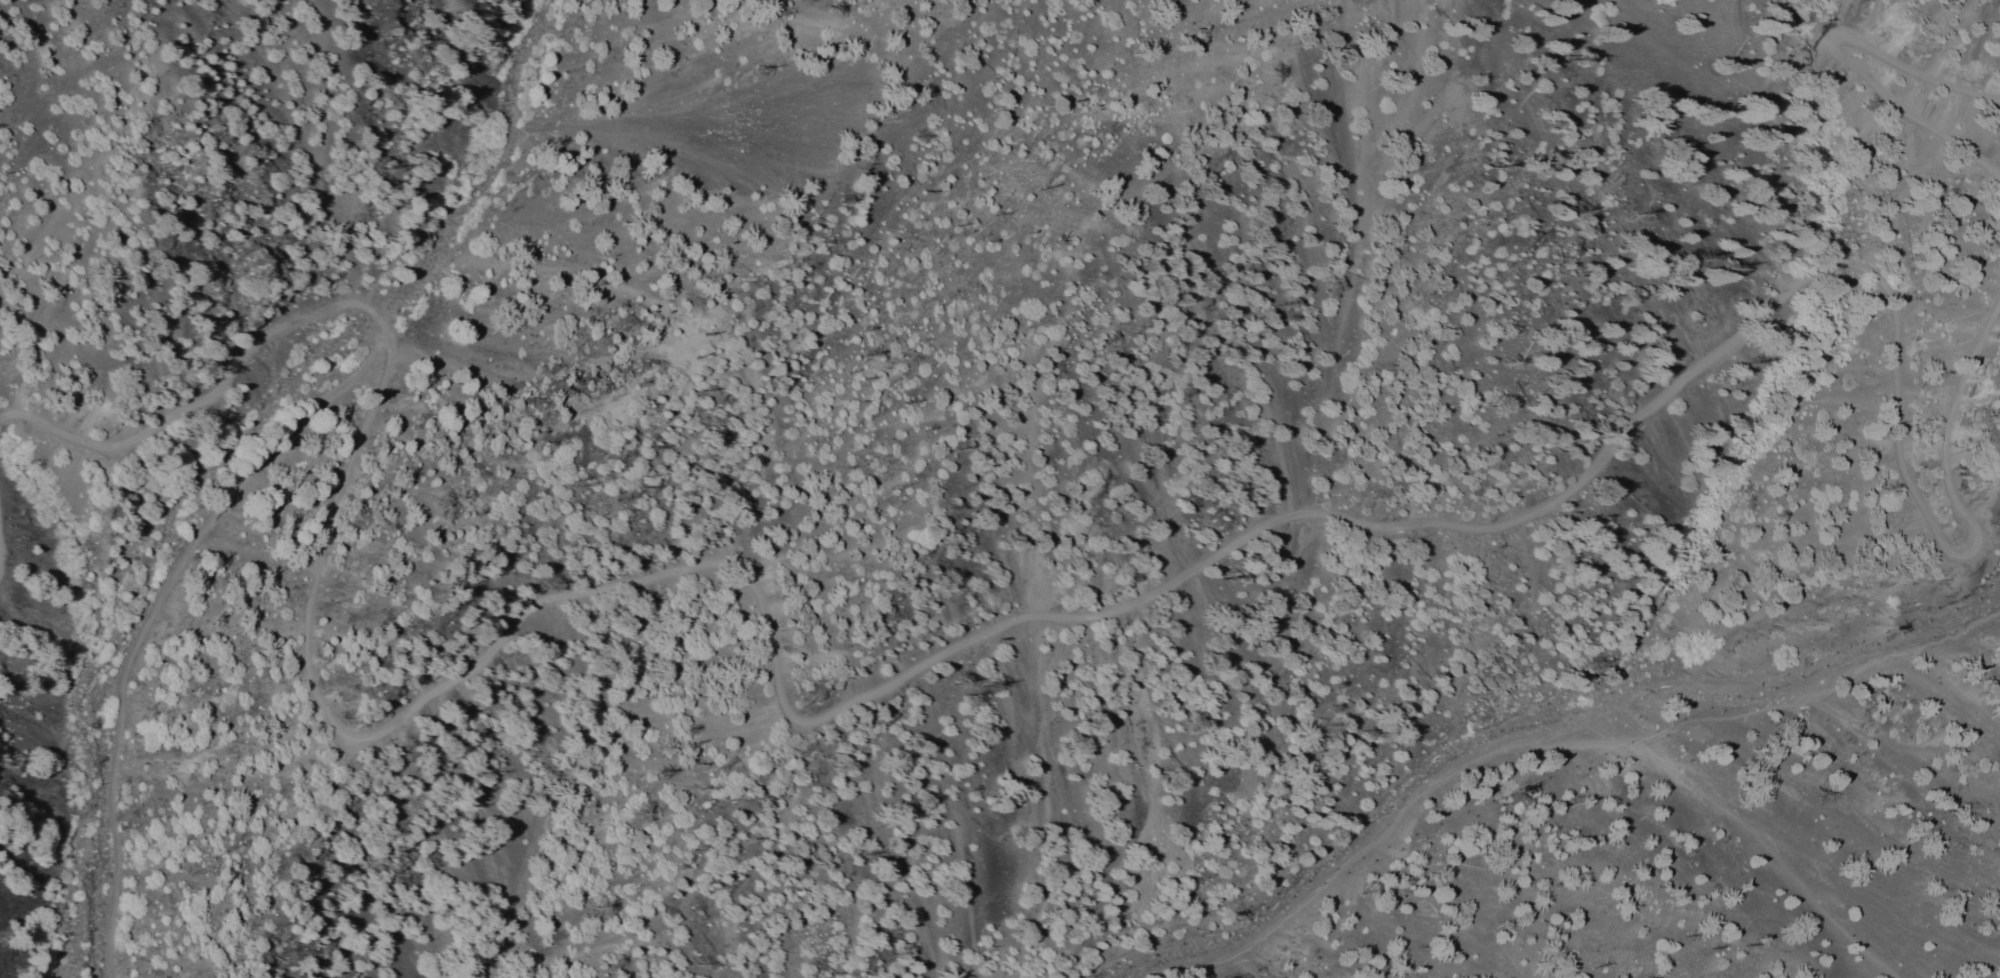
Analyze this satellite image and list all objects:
road: (1835, 56)
road: (1982, 552)
ski resort: (1127, 615)
road: (152, 617)
aerialway pylon: (1893, 630)
road: (945, 649)
aerialway pylon: (1769, 684)
aerialway pylon: (1527, 789)
aerialway pylon: (1237, 915)

